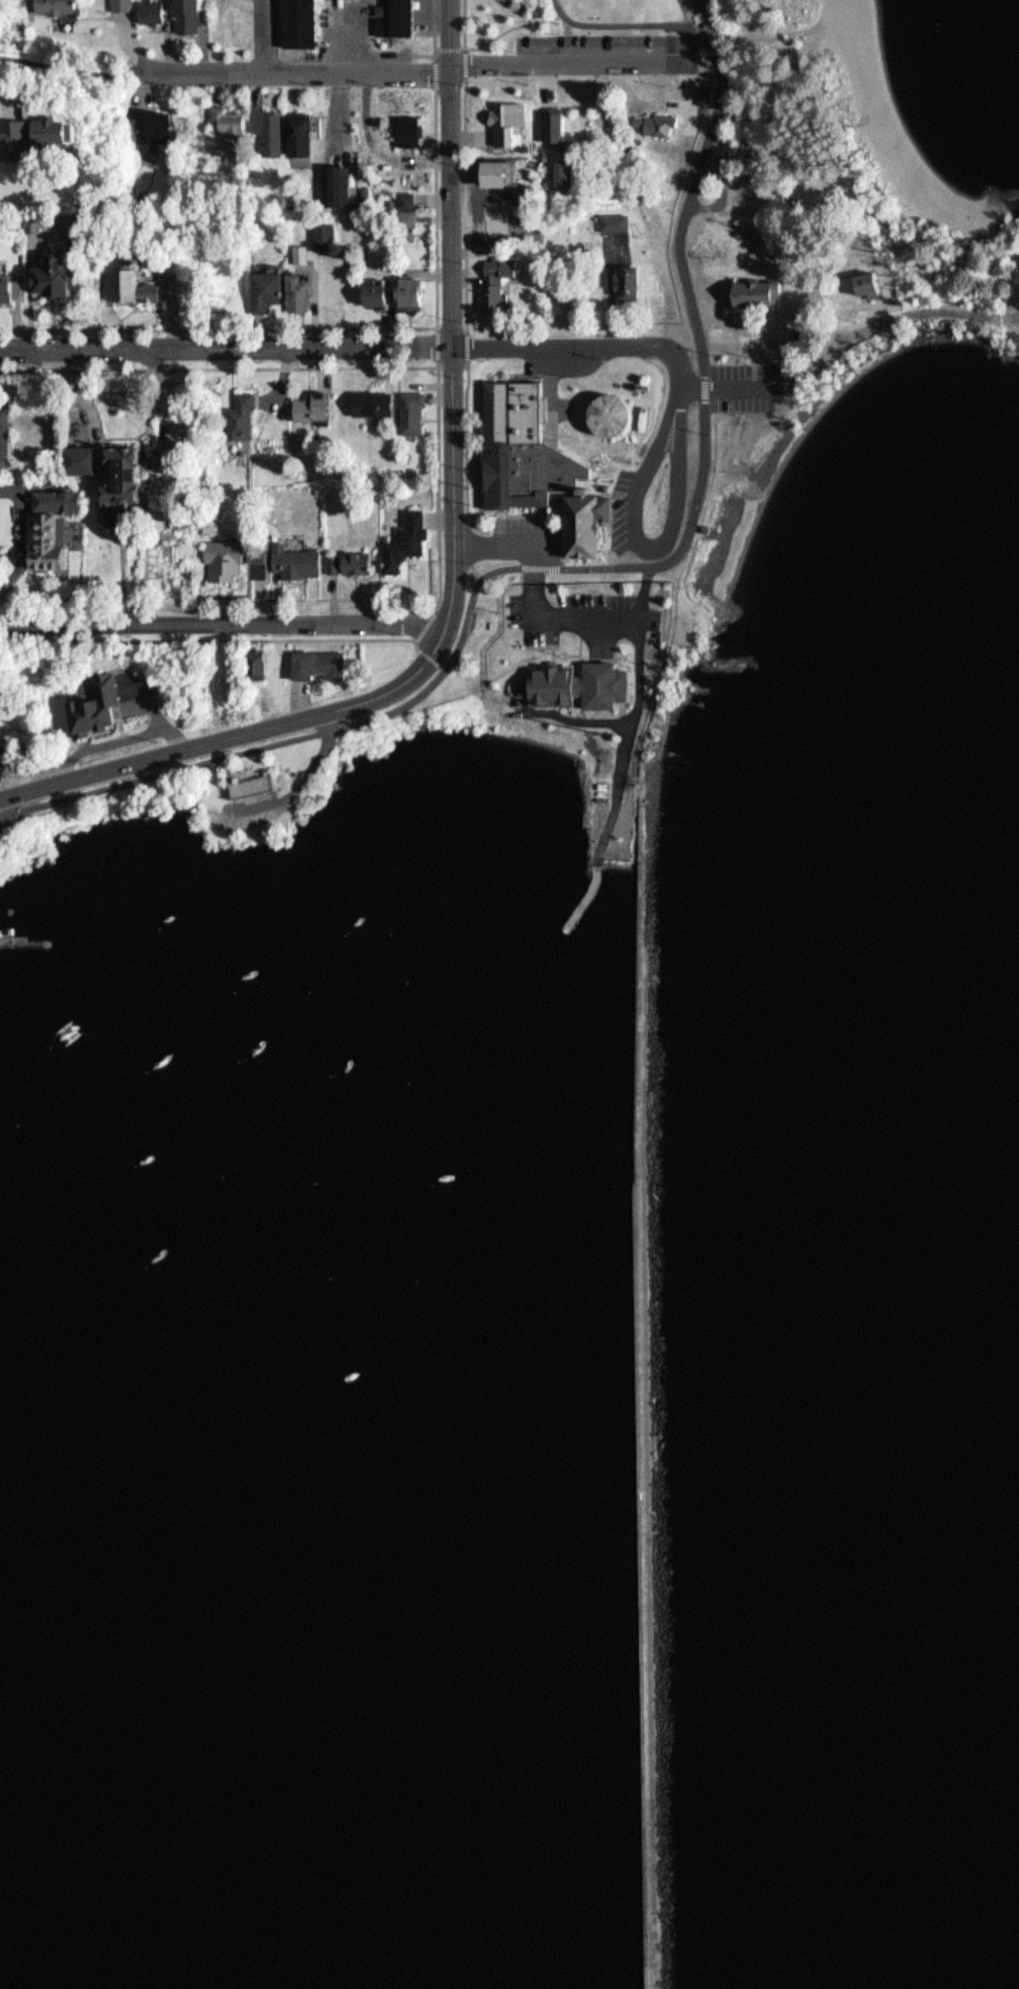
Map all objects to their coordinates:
building: (119, 2)
building: (51, 3)
building: (148, 8)
building: (184, 14)
building: (392, 15)
building: (295, 21)
road: (638, 22)
building: (714, 23)
road: (435, 26)
road: (267, 35)
road: (494, 38)
road: (129, 45)
road: (437, 52)
road: (71, 59)
road: (418, 72)
building: (701, 90)
park: (832, 103)
road: (38, 108)
building: (502, 116)
building: (225, 118)
building: (652, 118)
building: (550, 119)
building: (560, 122)
building: (148, 124)
building: (264, 124)
building: (405, 124)
building: (67, 128)
building: (296, 128)
building: (416, 130)
building: (308, 134)
building: (717, 160)
building: (728, 165)
building: (557, 170)
building: (570, 173)
building: (332, 181)
building: (45, 184)
building: (286, 199)
building: (403, 201)
road: (468, 204)
building: (487, 210)
building: (610, 216)
road: (685, 216)
building: (32, 217)
building: (619, 222)
building: (329, 237)
building: (297, 249)
building: (303, 258)
building: (48, 268)
building: (622, 277)
building: (264, 281)
building: (491, 281)
building: (860, 281)
building: (637, 283)
building: (128, 284)
building: (884, 285)
building: (292, 287)
building: (405, 287)
building: (749, 288)
building: (14, 289)
building: (372, 290)
building: (304, 293)
building: (383, 296)
road: (453, 311)
road: (336, 326)
road: (848, 345)
road: (347, 347)
road: (468, 363)
parking lot: (747, 385)
building: (368, 397)
building: (308, 400)
building: (320, 407)
building: (408, 408)
building: (249, 412)
storage tank: (622, 412)
building: (620, 415)
building: (234, 416)
road: (469, 440)
building: (535, 447)
road: (481, 472)
building: (111, 473)
road: (645, 473)
road: (681, 473)
building: (141, 475)
road: (702, 477)
road: (440, 483)
building: (47, 494)
road: (543, 513)
building: (592, 517)
road: (470, 527)
building: (401, 536)
building: (45, 537)
road: (509, 541)
building: (214, 554)
building: (287, 556)
building: (345, 557)
building: (364, 563)
road: (596, 567)
road: (479, 572)
road: (539, 593)
road: (429, 619)
road: (616, 619)
road: (224, 622)
road: (213, 639)
road: (435, 658)
building: (250, 660)
building: (313, 661)
building: (585, 683)
building: (87, 702)
road: (216, 721)
road: (240, 733)
road: (307, 739)
road: (631, 741)
building: (3, 752)
building: (248, 781)
pier: (588, 898)

